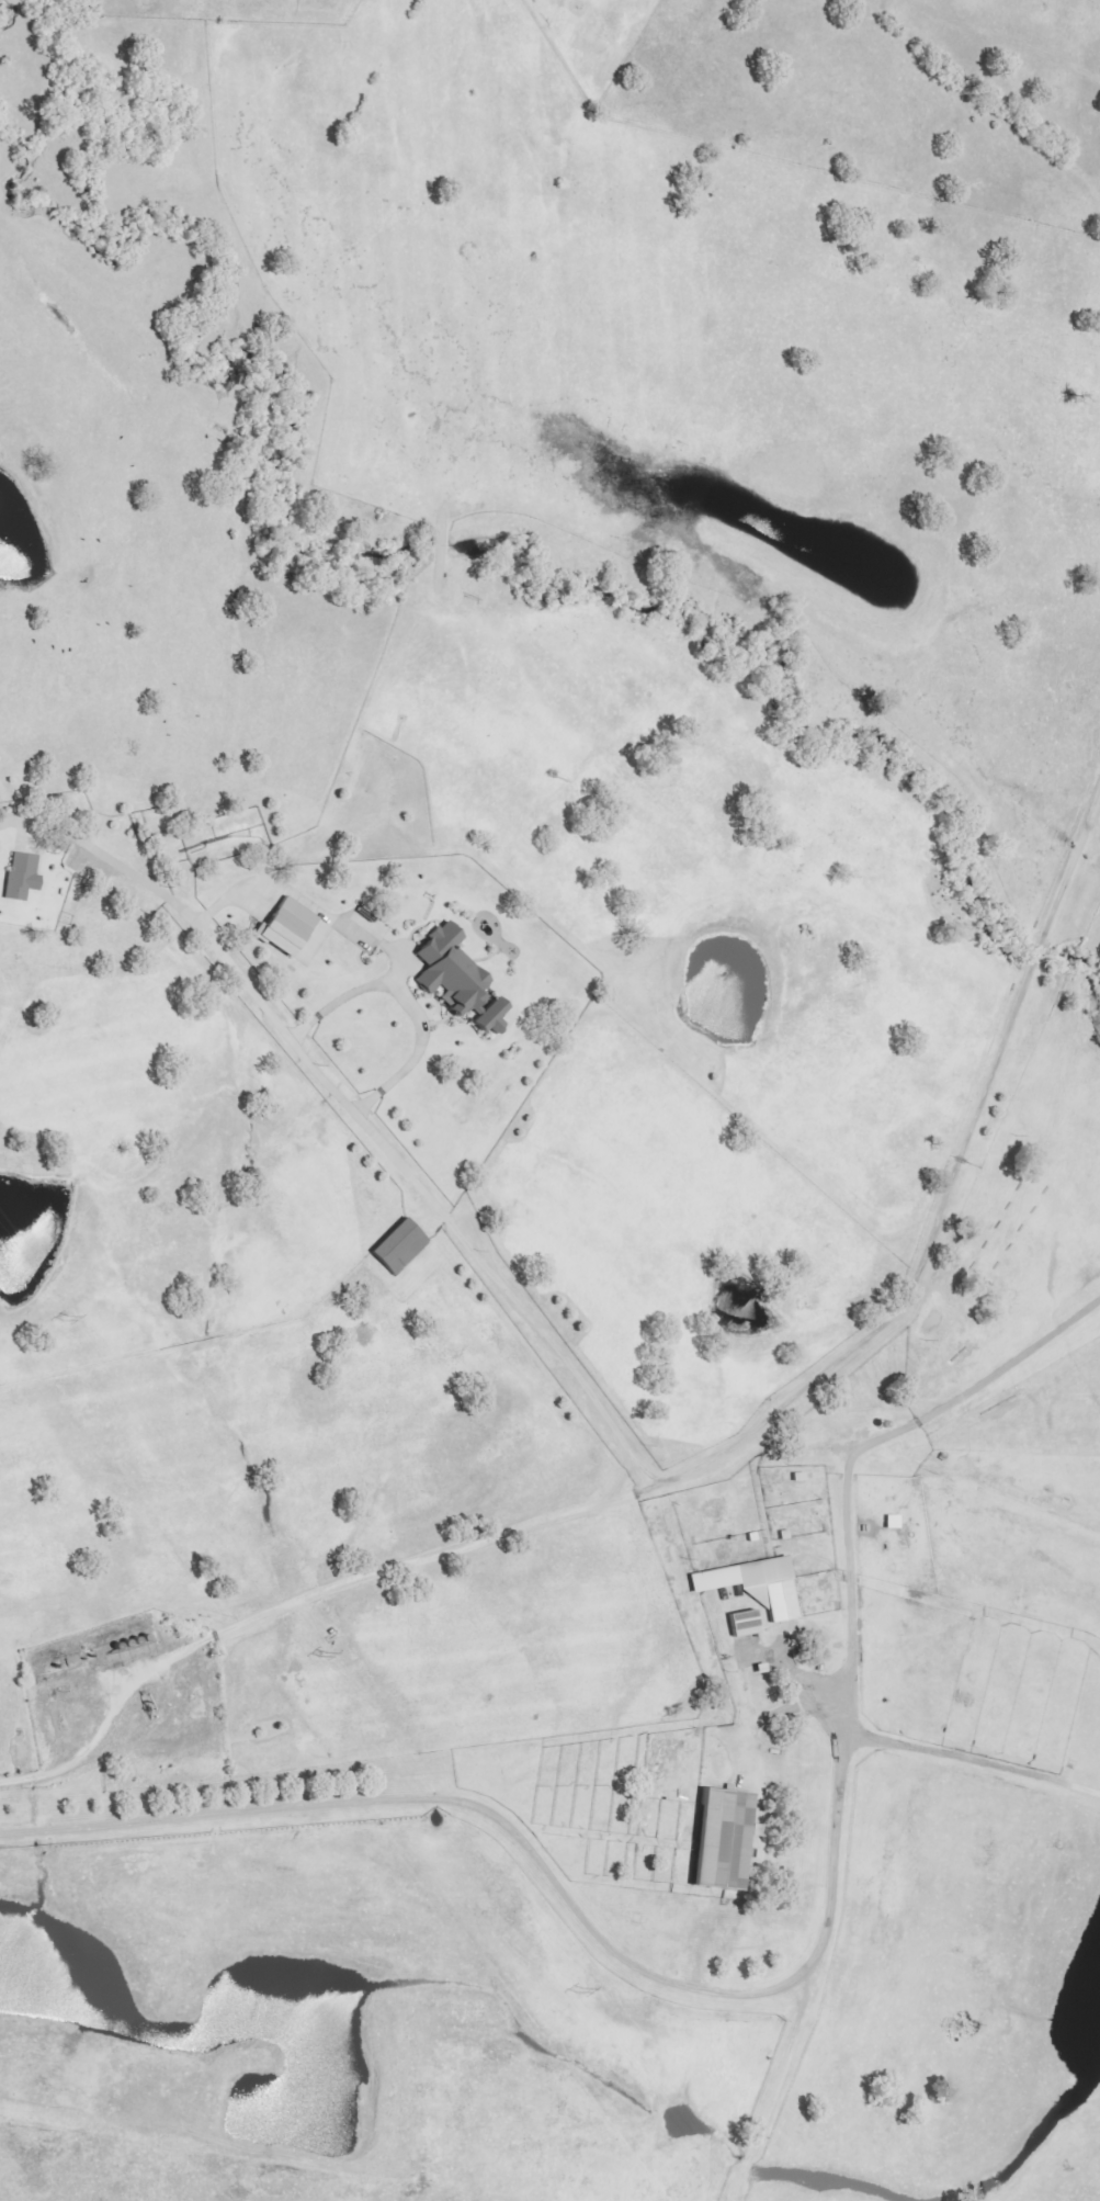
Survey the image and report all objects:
building: (19, 877)
building: (283, 926)
building: (445, 970)
building: (487, 1017)
building: (396, 1246)
power tower: (63, 1320)
building: (752, 1584)
building: (739, 1623)
power tower: (320, 1657)
building: (715, 1839)
power tower: (577, 1993)

